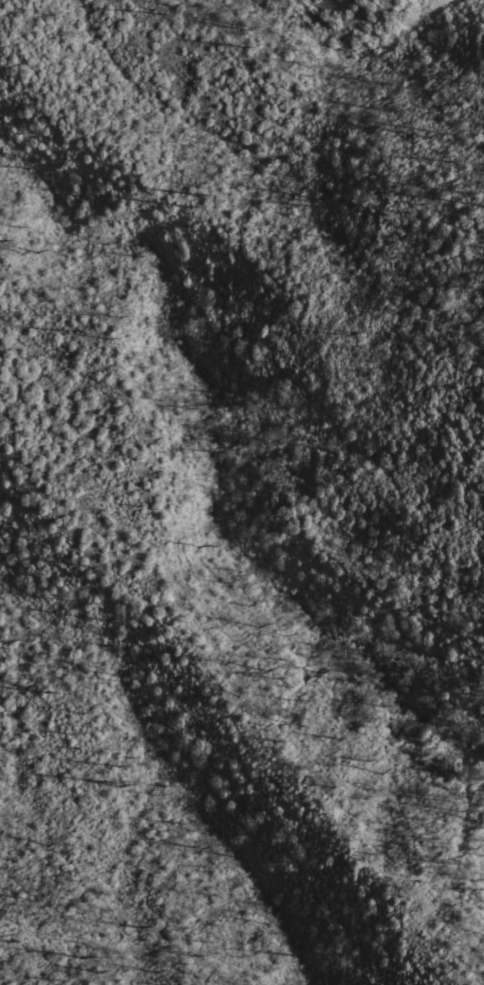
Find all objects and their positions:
road: (363, 861)
road: (140, 952)

